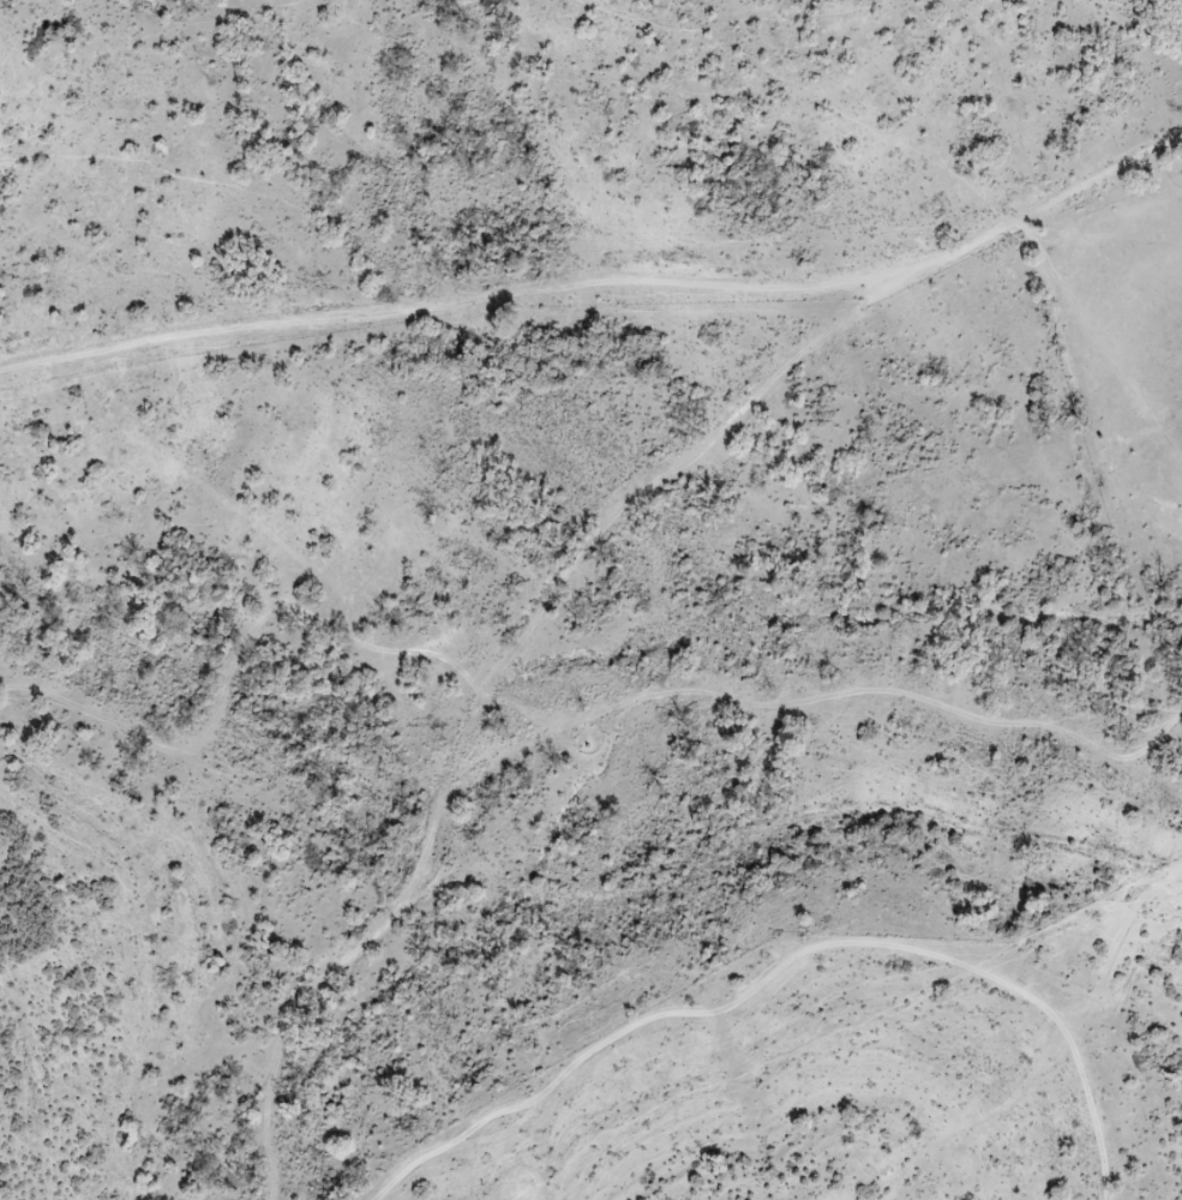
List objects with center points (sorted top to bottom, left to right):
road: (602, 292)
road: (418, 688)
road: (746, 955)

